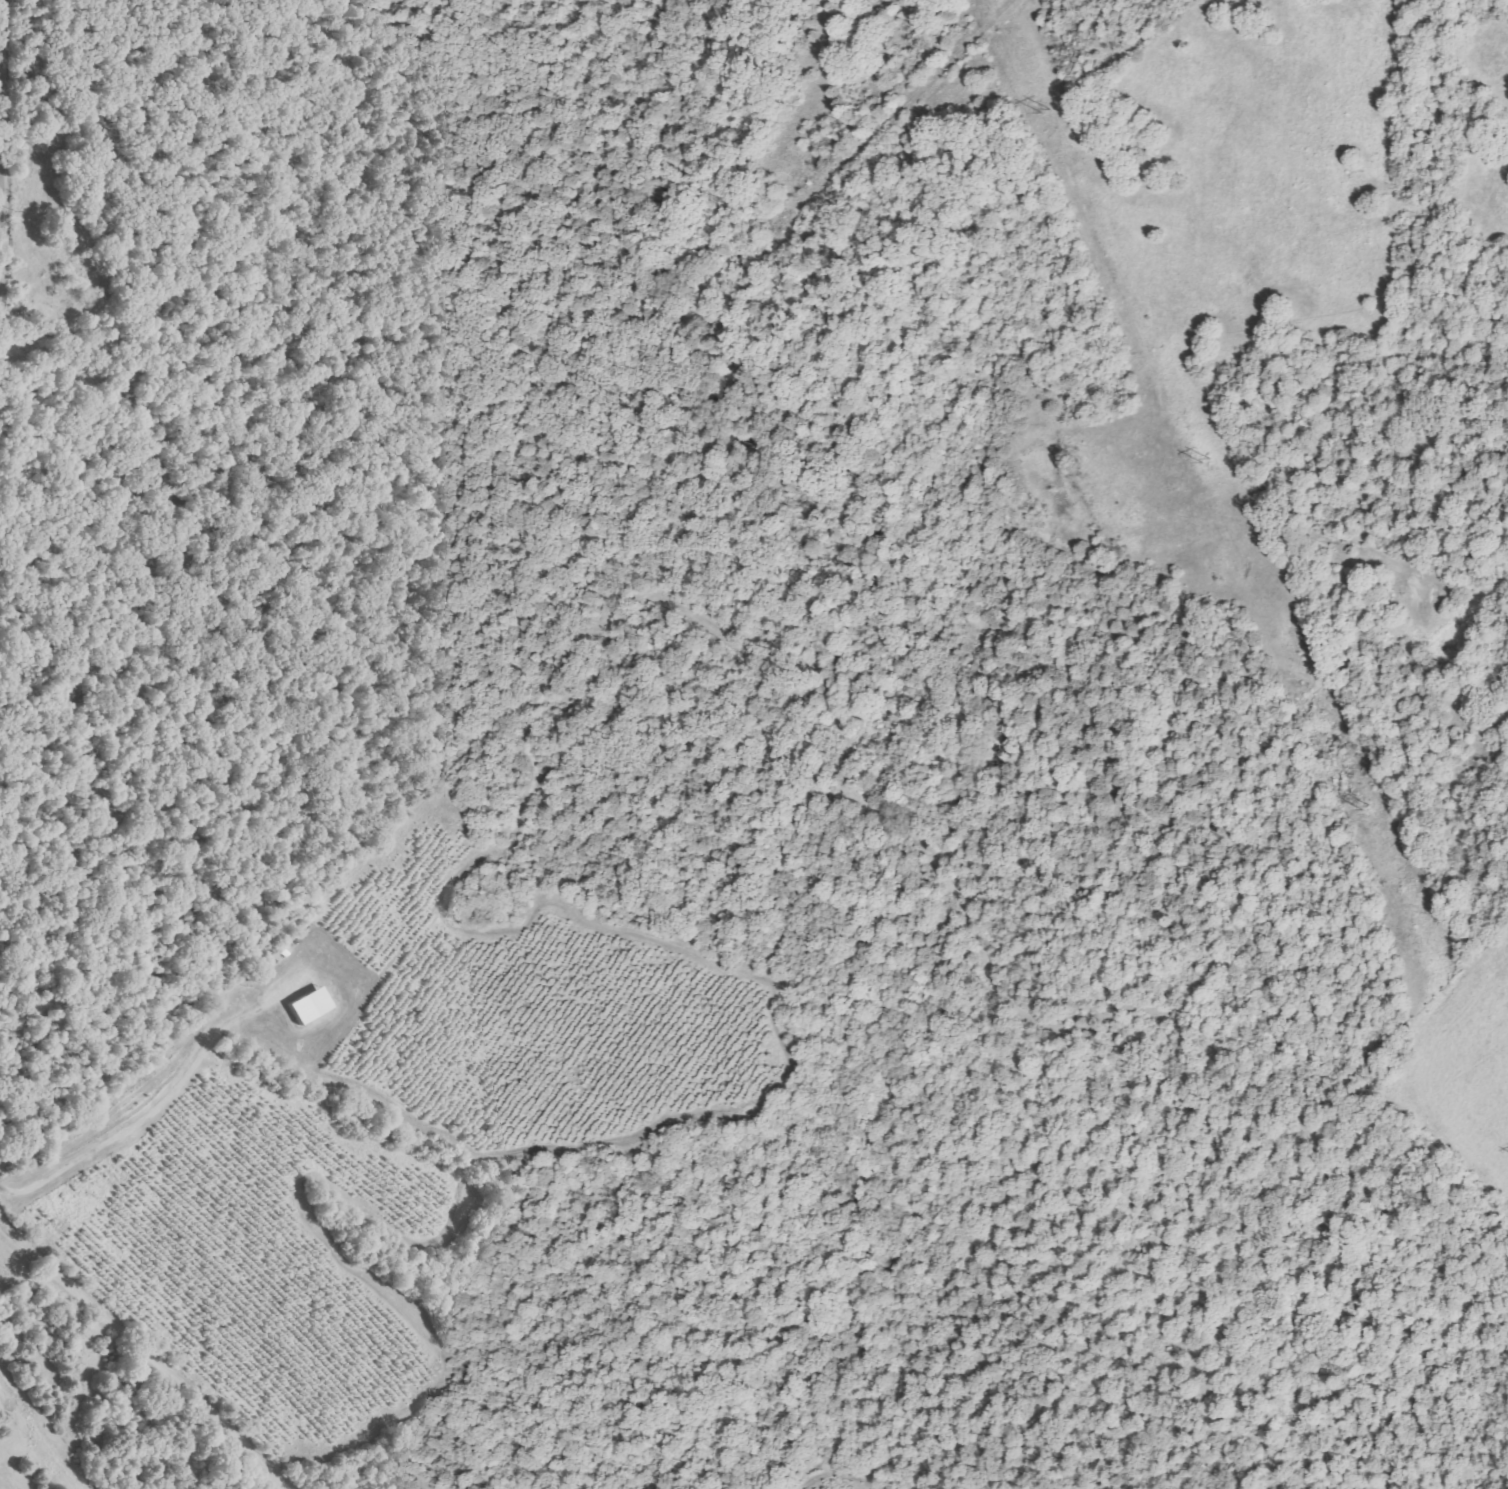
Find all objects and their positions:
road: (5, 112)
building: (313, 1007)
road: (164, 1340)

